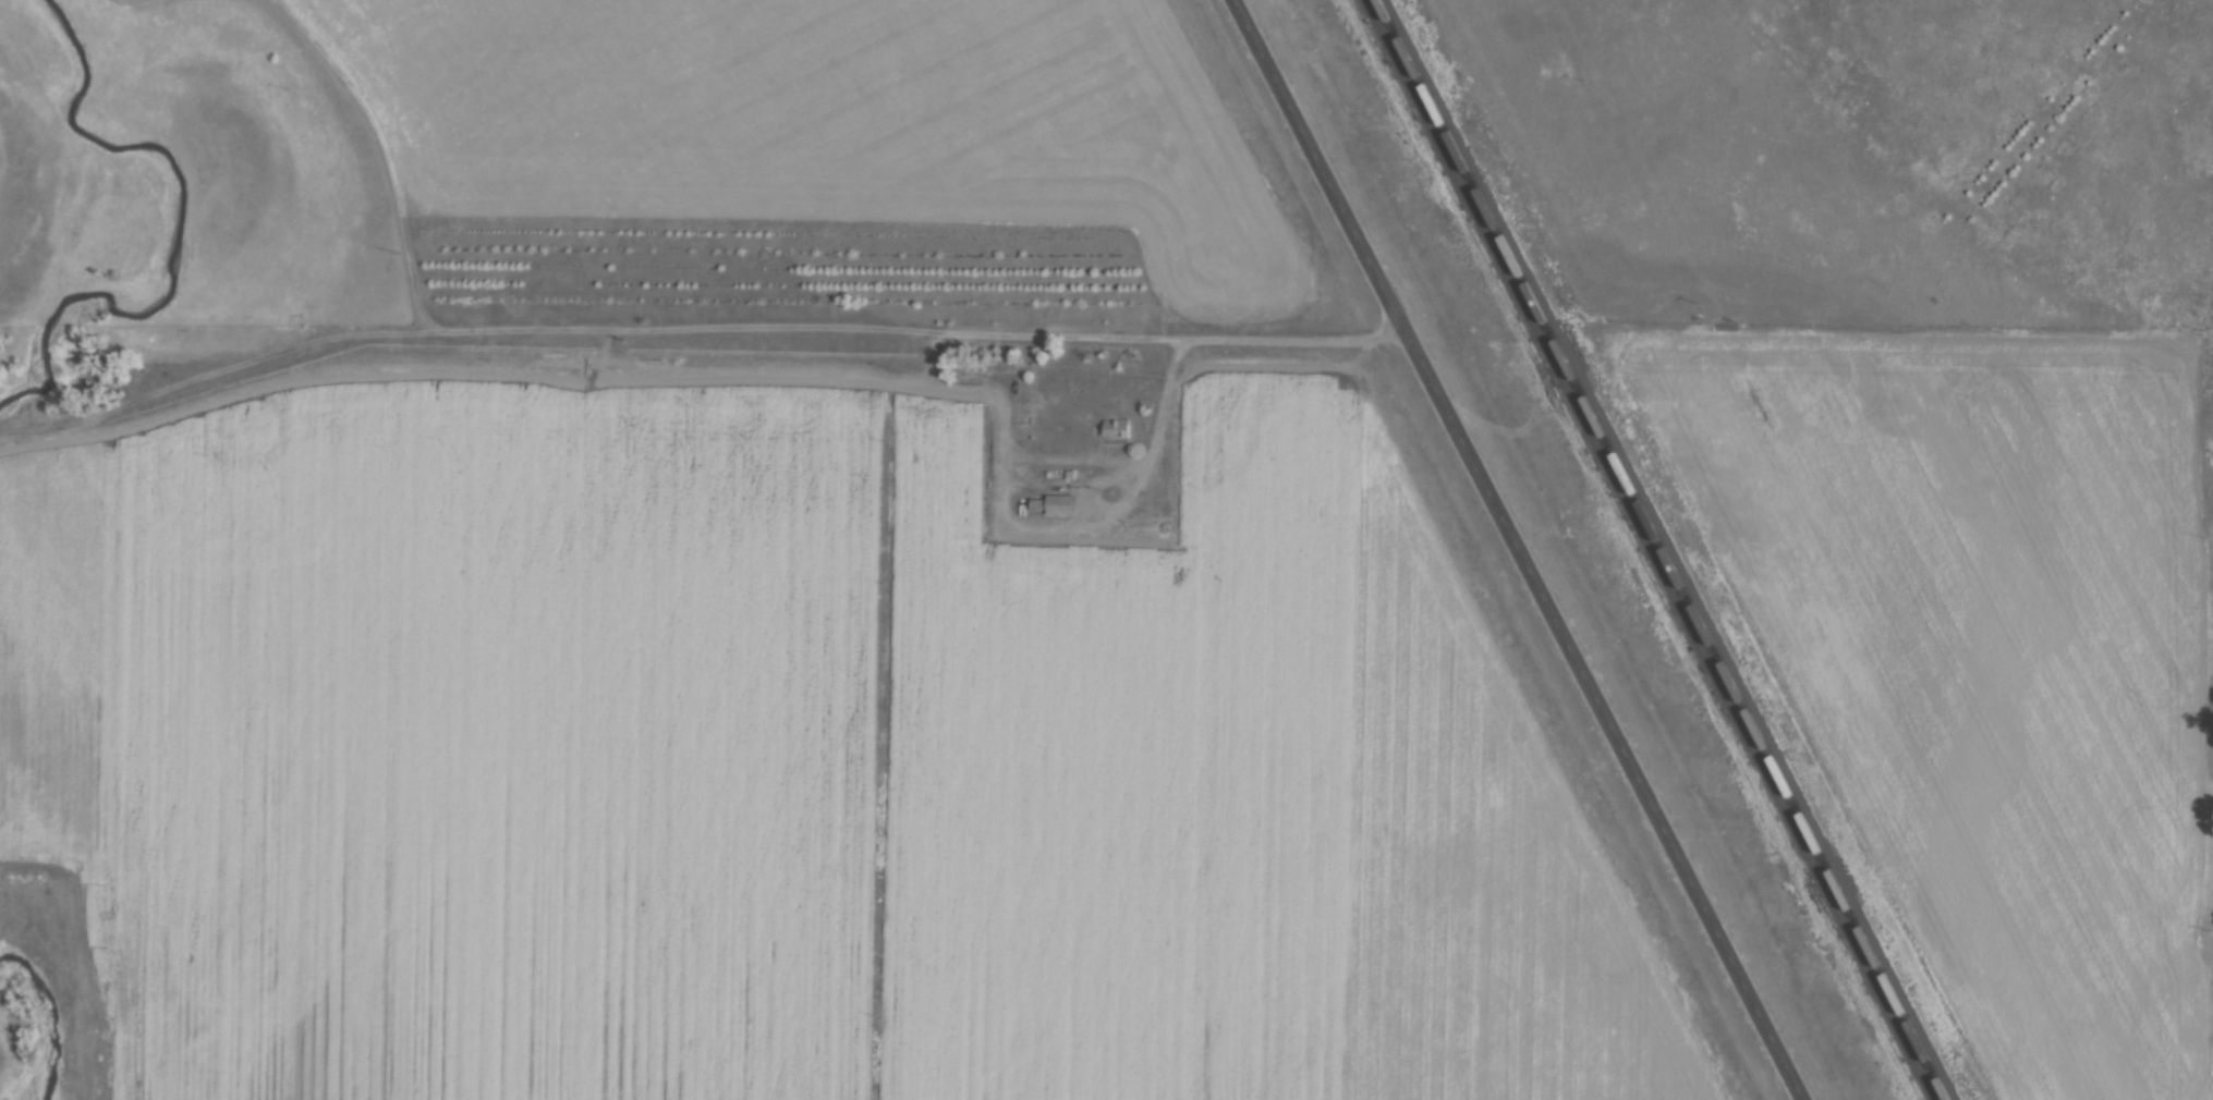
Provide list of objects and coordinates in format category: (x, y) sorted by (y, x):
crop: (834, 120)
road: (1233, 335)
building: (978, 379)
building: (1115, 425)
building: (1055, 504)
road: (1036, 529)
railway: (1652, 549)
road: (1520, 550)
railway: (1664, 550)
crop: (1985, 656)
crop: (800, 753)

